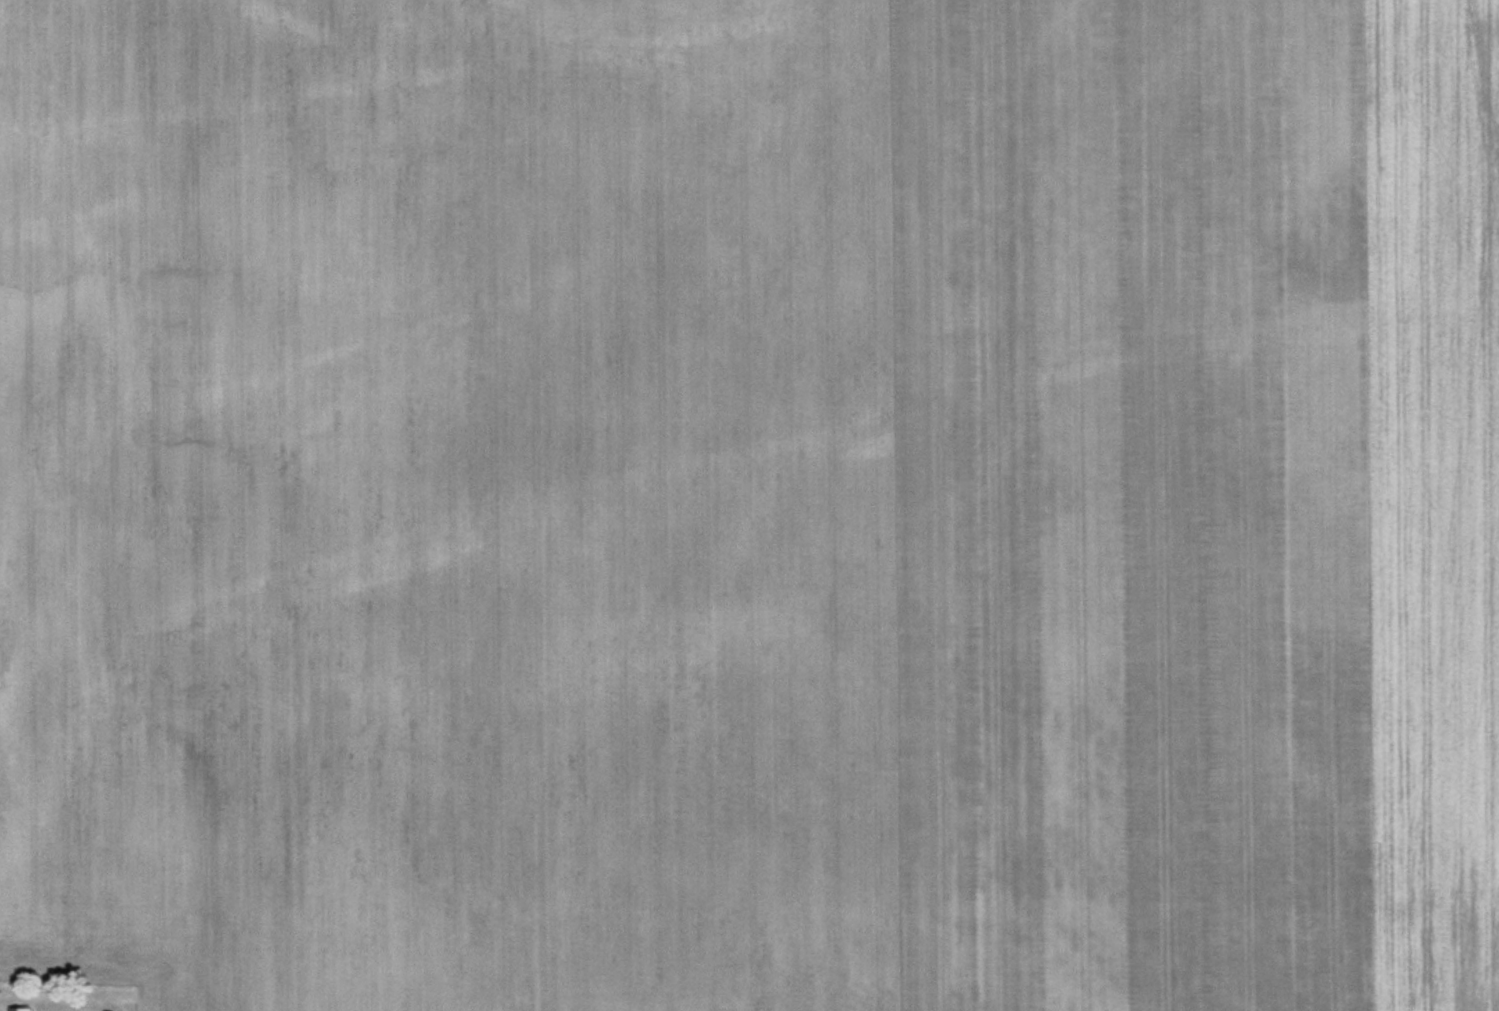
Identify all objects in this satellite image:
building: (23, 1009)

